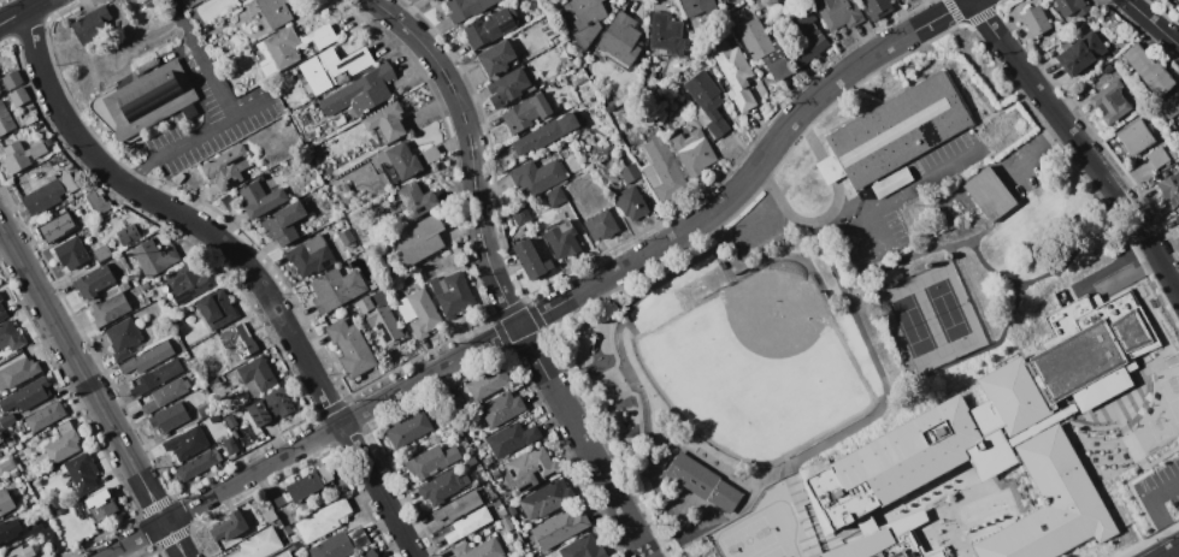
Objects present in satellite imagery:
building: (430, 0)
building: (900, 0)
building: (147, 2)
building: (189, 2)
building: (697, 6)
building: (1071, 6)
building: (465, 8)
building: (876, 8)
road: (22, 12)
building: (273, 12)
building: (837, 13)
road: (178, 17)
building: (583, 19)
building: (1033, 22)
road: (1153, 23)
building: (89, 24)
building: (487, 28)
building: (665, 34)
building: (804, 35)
building: (618, 40)
building: (287, 47)
building: (761, 47)
building: (1080, 53)
building: (495, 58)
building: (330, 67)
building: (1146, 70)
building: (733, 75)
road: (211, 76)
building: (11, 79)
building: (0, 84)
building: (506, 87)
building: (359, 91)
building: (18, 97)
building: (145, 101)
building: (706, 101)
building: (1109, 102)
building: (1171, 105)
parking lot: (208, 112)
building: (524, 113)
building: (5, 120)
building: (384, 120)
building: (897, 130)
building: (544, 134)
road: (195, 135)
building: (1133, 136)
road: (1080, 142)
building: (692, 150)
road: (1036, 150)
building: (19, 154)
building: (1156, 156)
building: (408, 159)
parking lot: (1025, 164)
building: (225, 166)
road: (1049, 167)
building: (662, 170)
building: (629, 173)
building: (536, 177)
road: (1095, 180)
building: (1169, 188)
road: (904, 192)
building: (47, 194)
building: (988, 194)
building: (554, 196)
building: (259, 198)
building: (415, 198)
building: (96, 202)
building: (630, 202)
parking lot: (902, 202)
road: (854, 205)
road: (832, 211)
building: (519, 217)
building: (1177, 218)
road: (998, 221)
building: (283, 223)
building: (600, 225)
building: (55, 226)
parking lot: (754, 226)
road: (741, 229)
building: (126, 233)
building: (344, 237)
building: (560, 238)
road: (968, 239)
building: (417, 241)
road: (721, 243)
building: (100, 251)
building: (70, 253)
building: (308, 255)
road: (237, 256)
building: (529, 256)
building: (153, 257)
road: (495, 278)
building: (92, 280)
building: (188, 282)
building: (334, 289)
road: (596, 292)
building: (450, 294)
building: (0, 298)
road: (638, 298)
road: (556, 304)
road: (617, 304)
building: (108, 309)
building: (216, 309)
building: (417, 312)
building: (1, 313)
building: (378, 316)
park: (931, 318)
building: (10, 336)
park: (809, 336)
building: (122, 338)
road: (866, 342)
building: (235, 343)
building: (349, 348)
building: (147, 357)
park: (757, 366)
building: (17, 372)
building: (257, 373)
building: (155, 377)
road: (914, 381)
building: (487, 383)
road: (93, 391)
building: (25, 395)
building: (164, 395)
building: (992, 405)
building: (269, 407)
building: (500, 408)
park: (1160, 410)
building: (43, 416)
building: (167, 416)
building: (6, 420)
building: (230, 422)
building: (408, 429)
building: (509, 438)
building: (61, 442)
building: (185, 443)
building: (229, 445)
road: (698, 460)
building: (431, 461)
building: (6, 464)
building: (195, 464)
building: (530, 468)
building: (81, 473)
building: (701, 481)
building: (307, 482)
building: (441, 486)
road: (621, 487)
parking lot: (1160, 491)
building: (544, 499)
building: (5, 502)
road: (665, 503)
building: (1050, 503)
building: (99, 505)
building: (455, 505)
road: (1153, 506)
building: (269, 515)
building: (320, 520)
building: (466, 523)
road: (712, 523)
building: (229, 527)
building: (559, 527)
building: (34, 528)
park: (761, 529)
building: (8, 531)
building: (51, 540)
building: (258, 544)
building: (338, 544)
road: (653, 545)
building: (886, 545)
road: (1177, 545)
building: (580, 547)
building: (477, 549)
building: (19, 552)
road: (1165, 552)
building: (366, 553)
building: (283, 555)
building: (515, 556)

